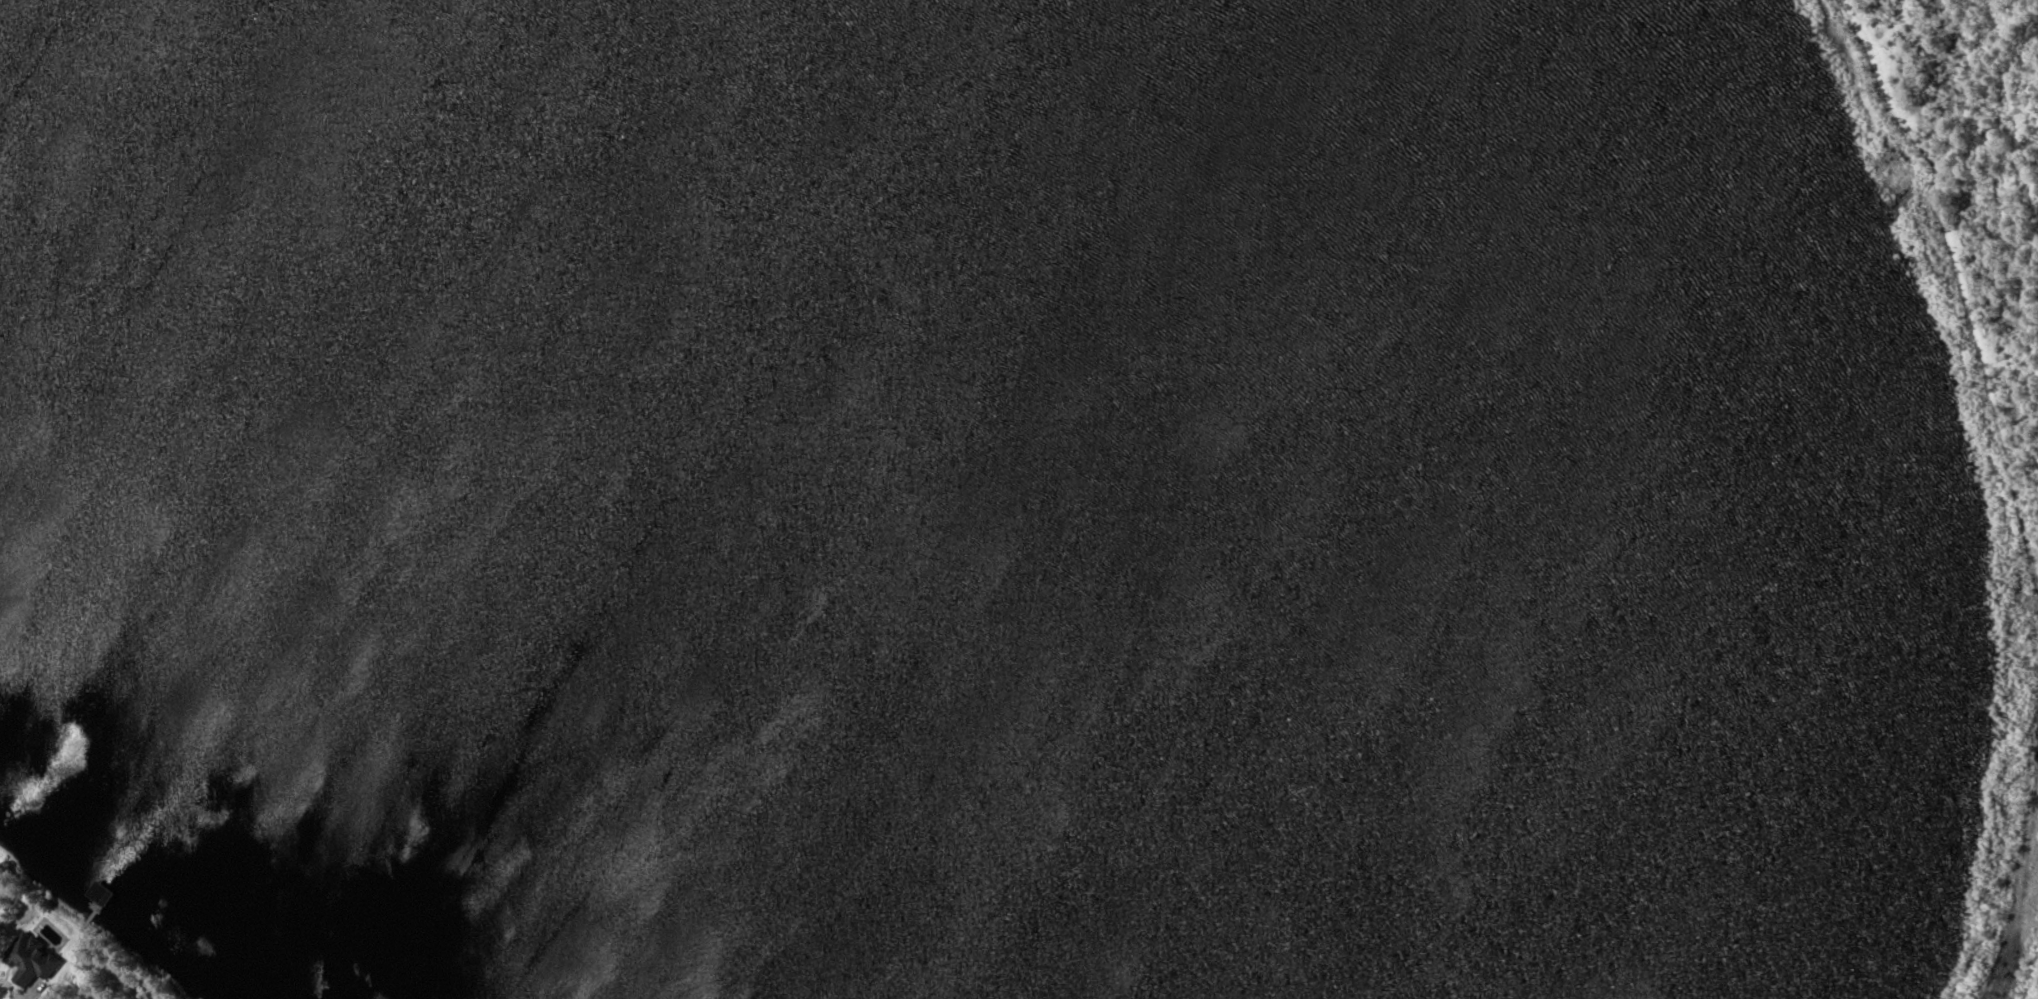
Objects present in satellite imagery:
building: (30, 961)

